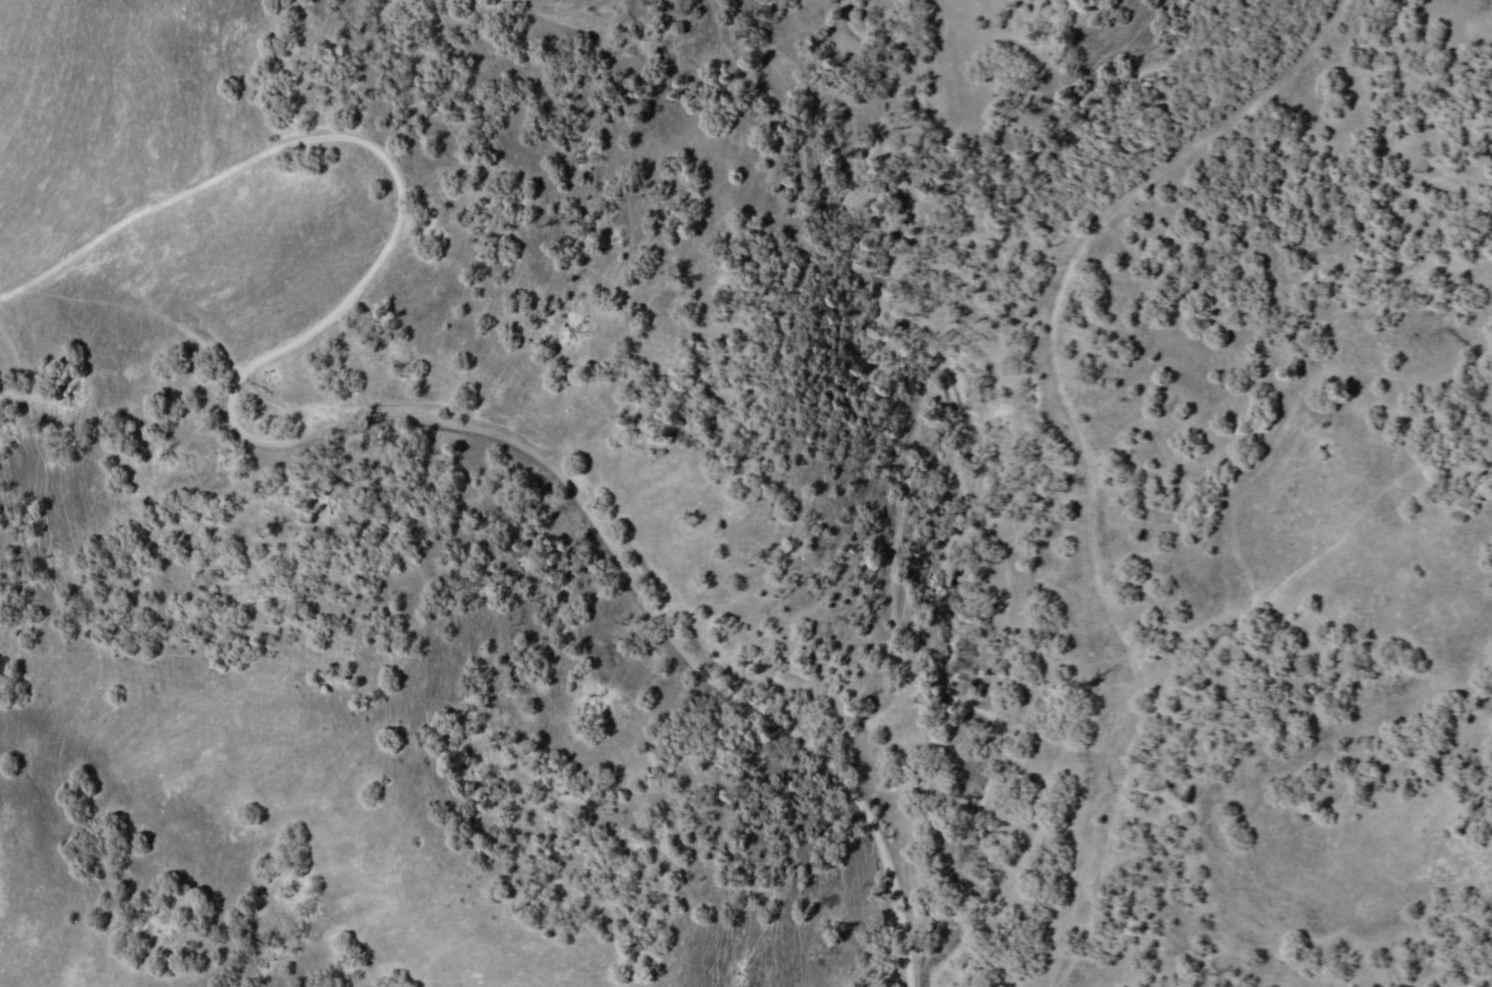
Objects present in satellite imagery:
road: (321, 430)
road: (1077, 443)

